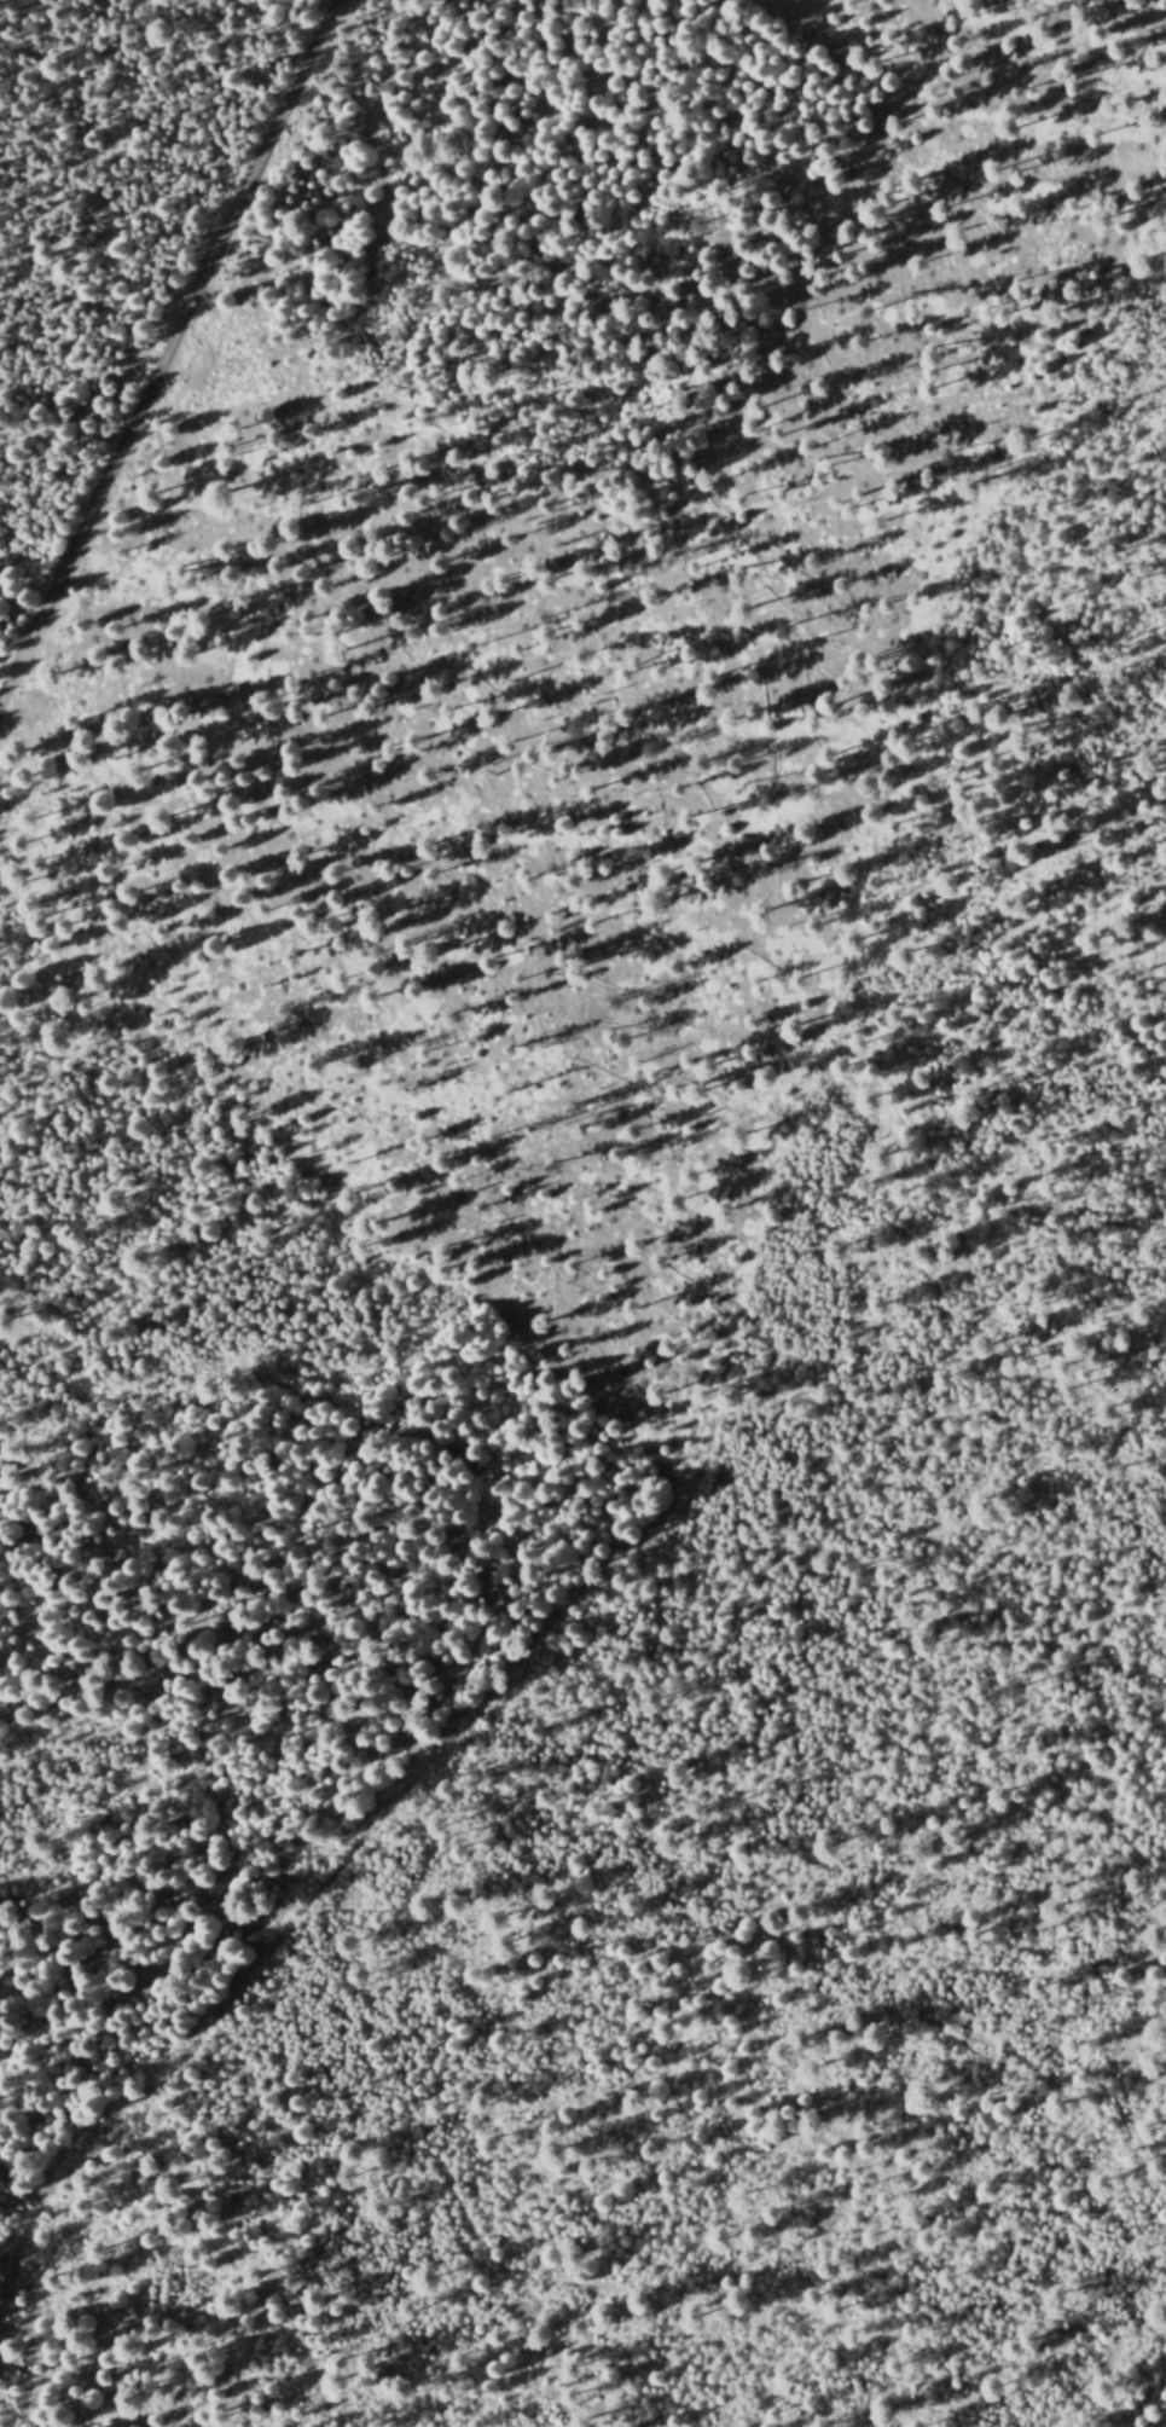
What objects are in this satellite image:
road: (162, 346)

